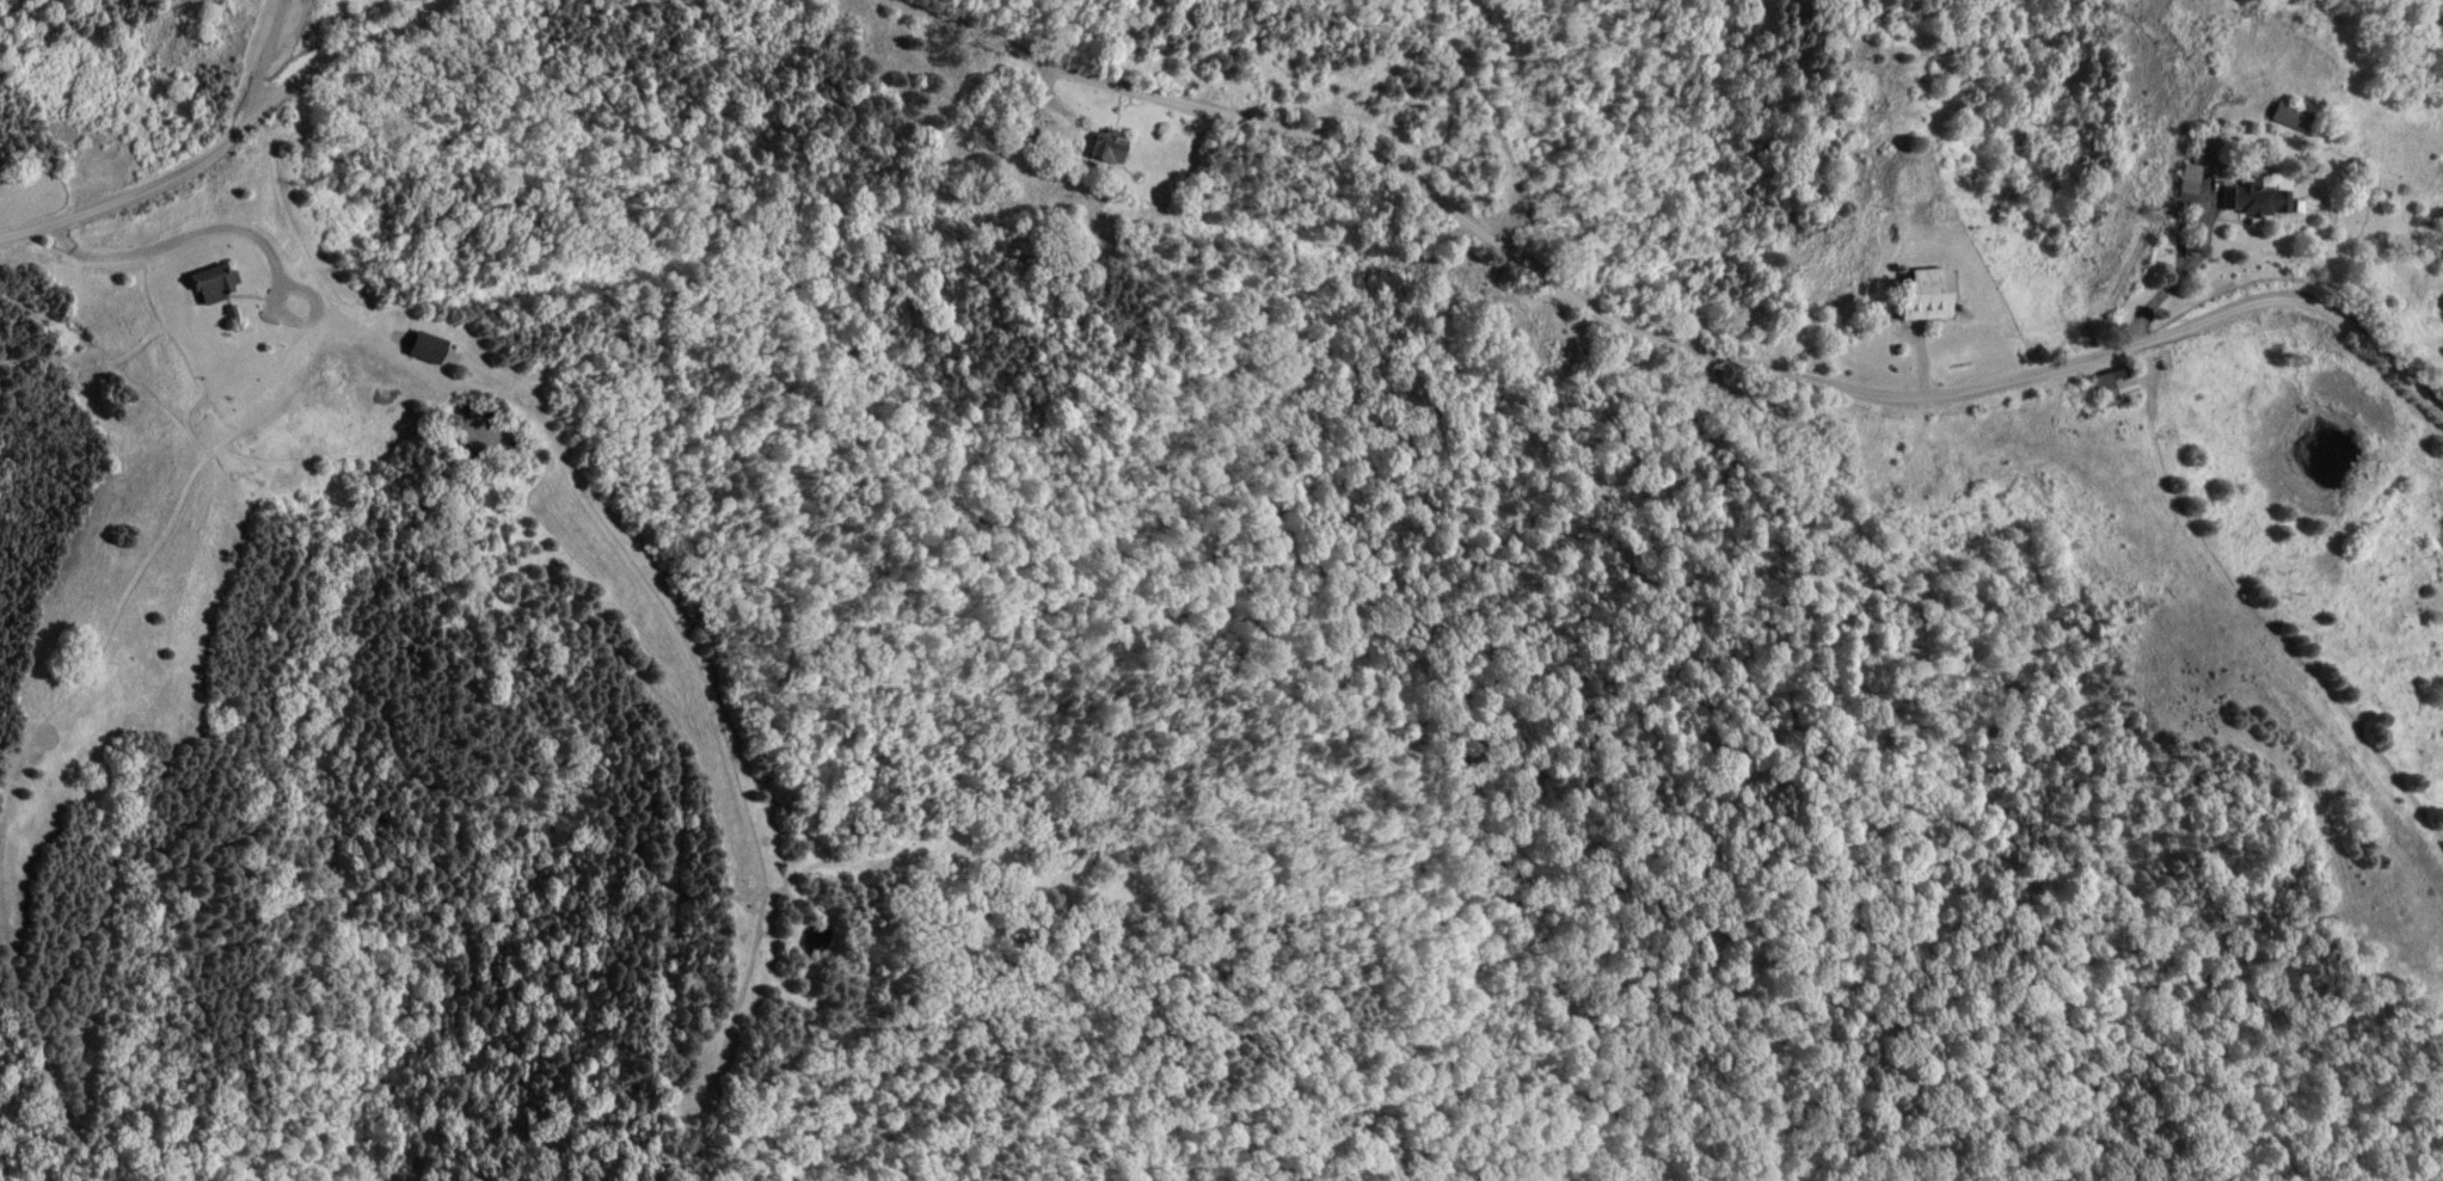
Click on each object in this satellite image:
road: (271, 60)
building: (1097, 146)
road: (227, 153)
building: (2183, 184)
building: (2251, 201)
road: (183, 247)
building: (207, 283)
building: (1917, 295)
building: (419, 346)
road: (1651, 356)
building: (2109, 389)

